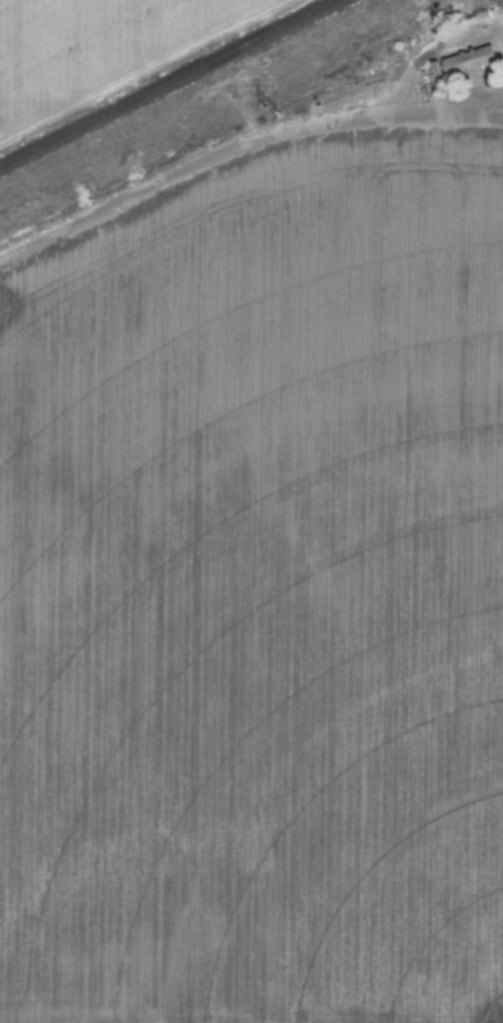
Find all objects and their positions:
crop: (96, 47)
building: (467, 60)
railway: (185, 94)
road: (242, 146)

